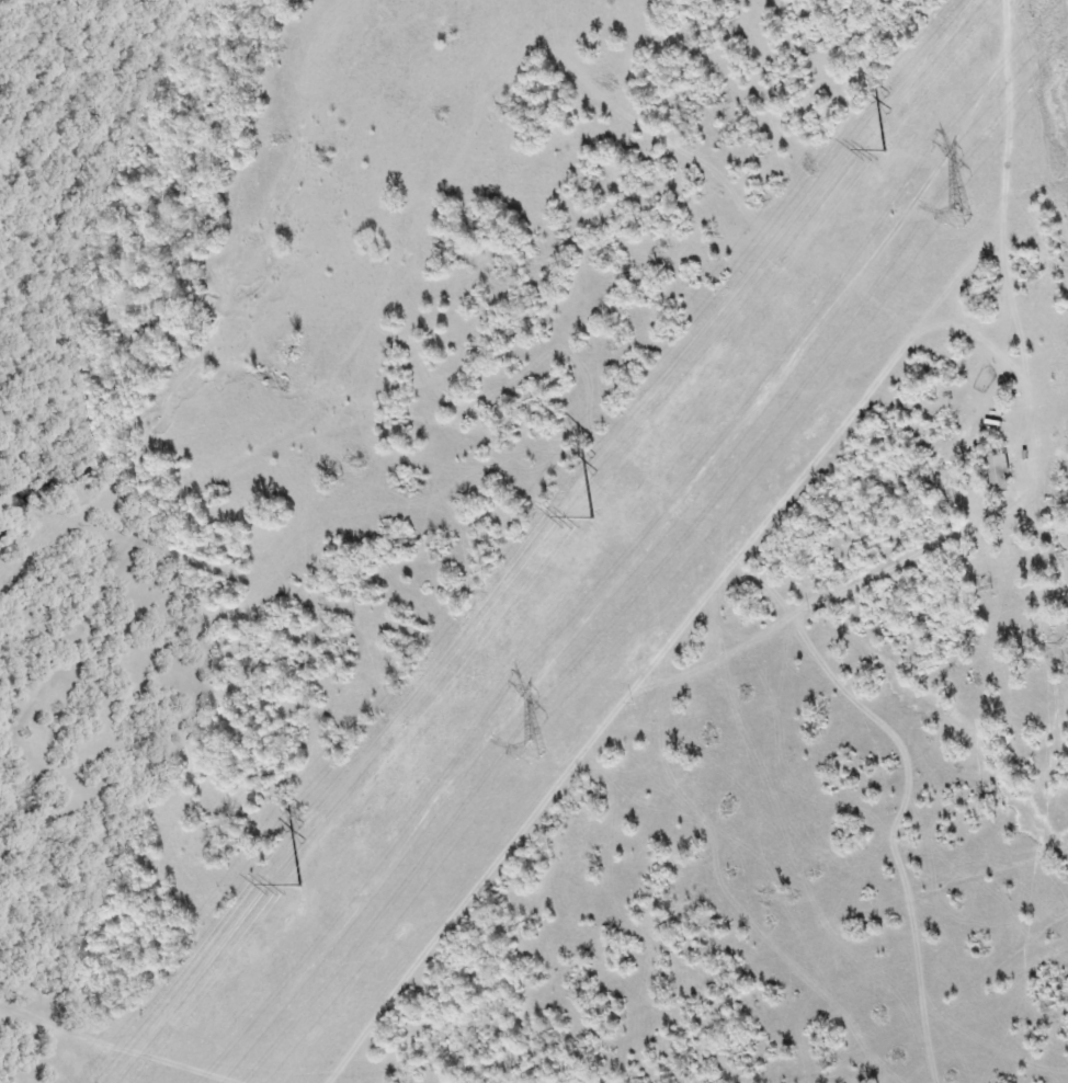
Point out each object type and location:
power tower: (959, 213)
building: (1001, 472)
power tower: (532, 750)

